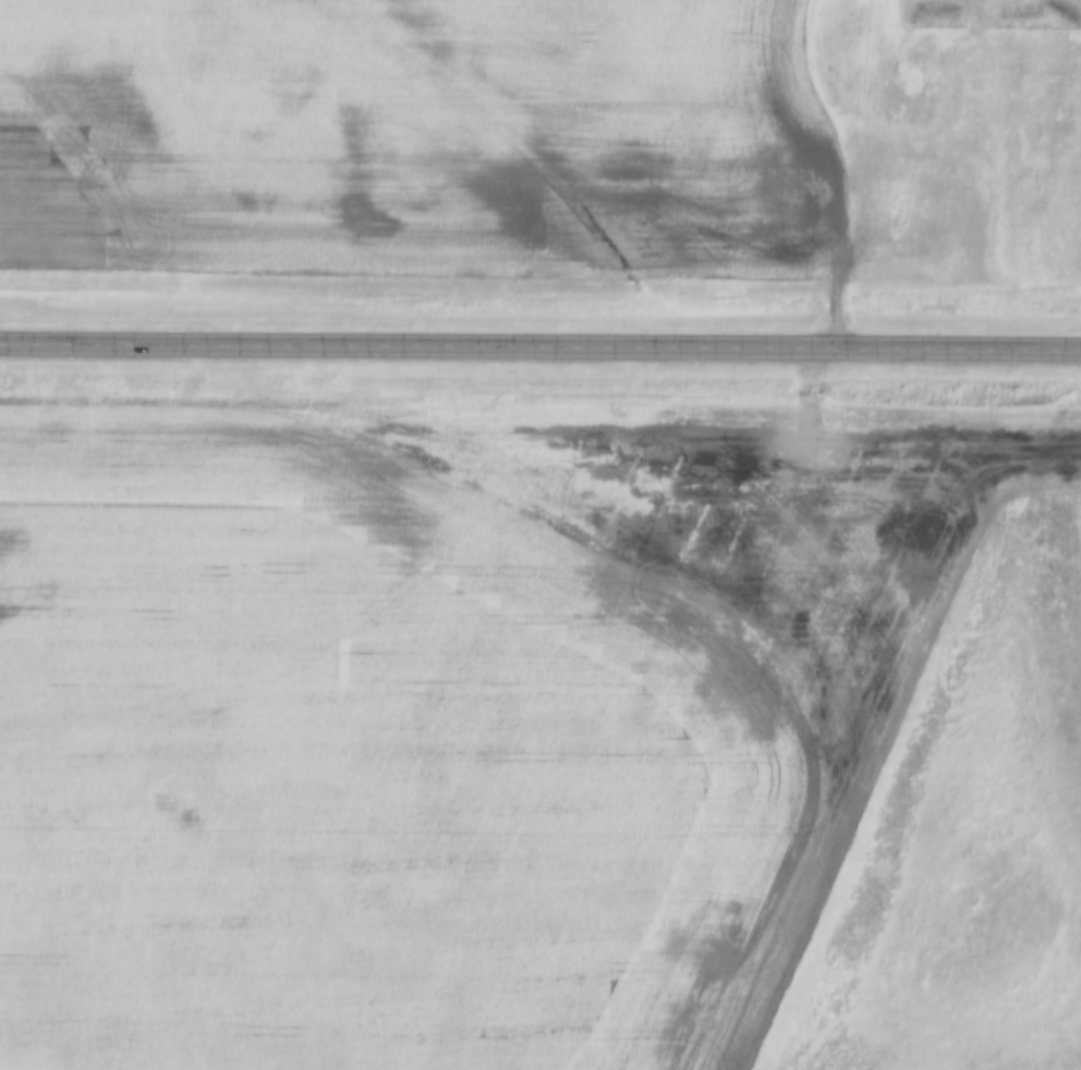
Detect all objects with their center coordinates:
road: (540, 348)

